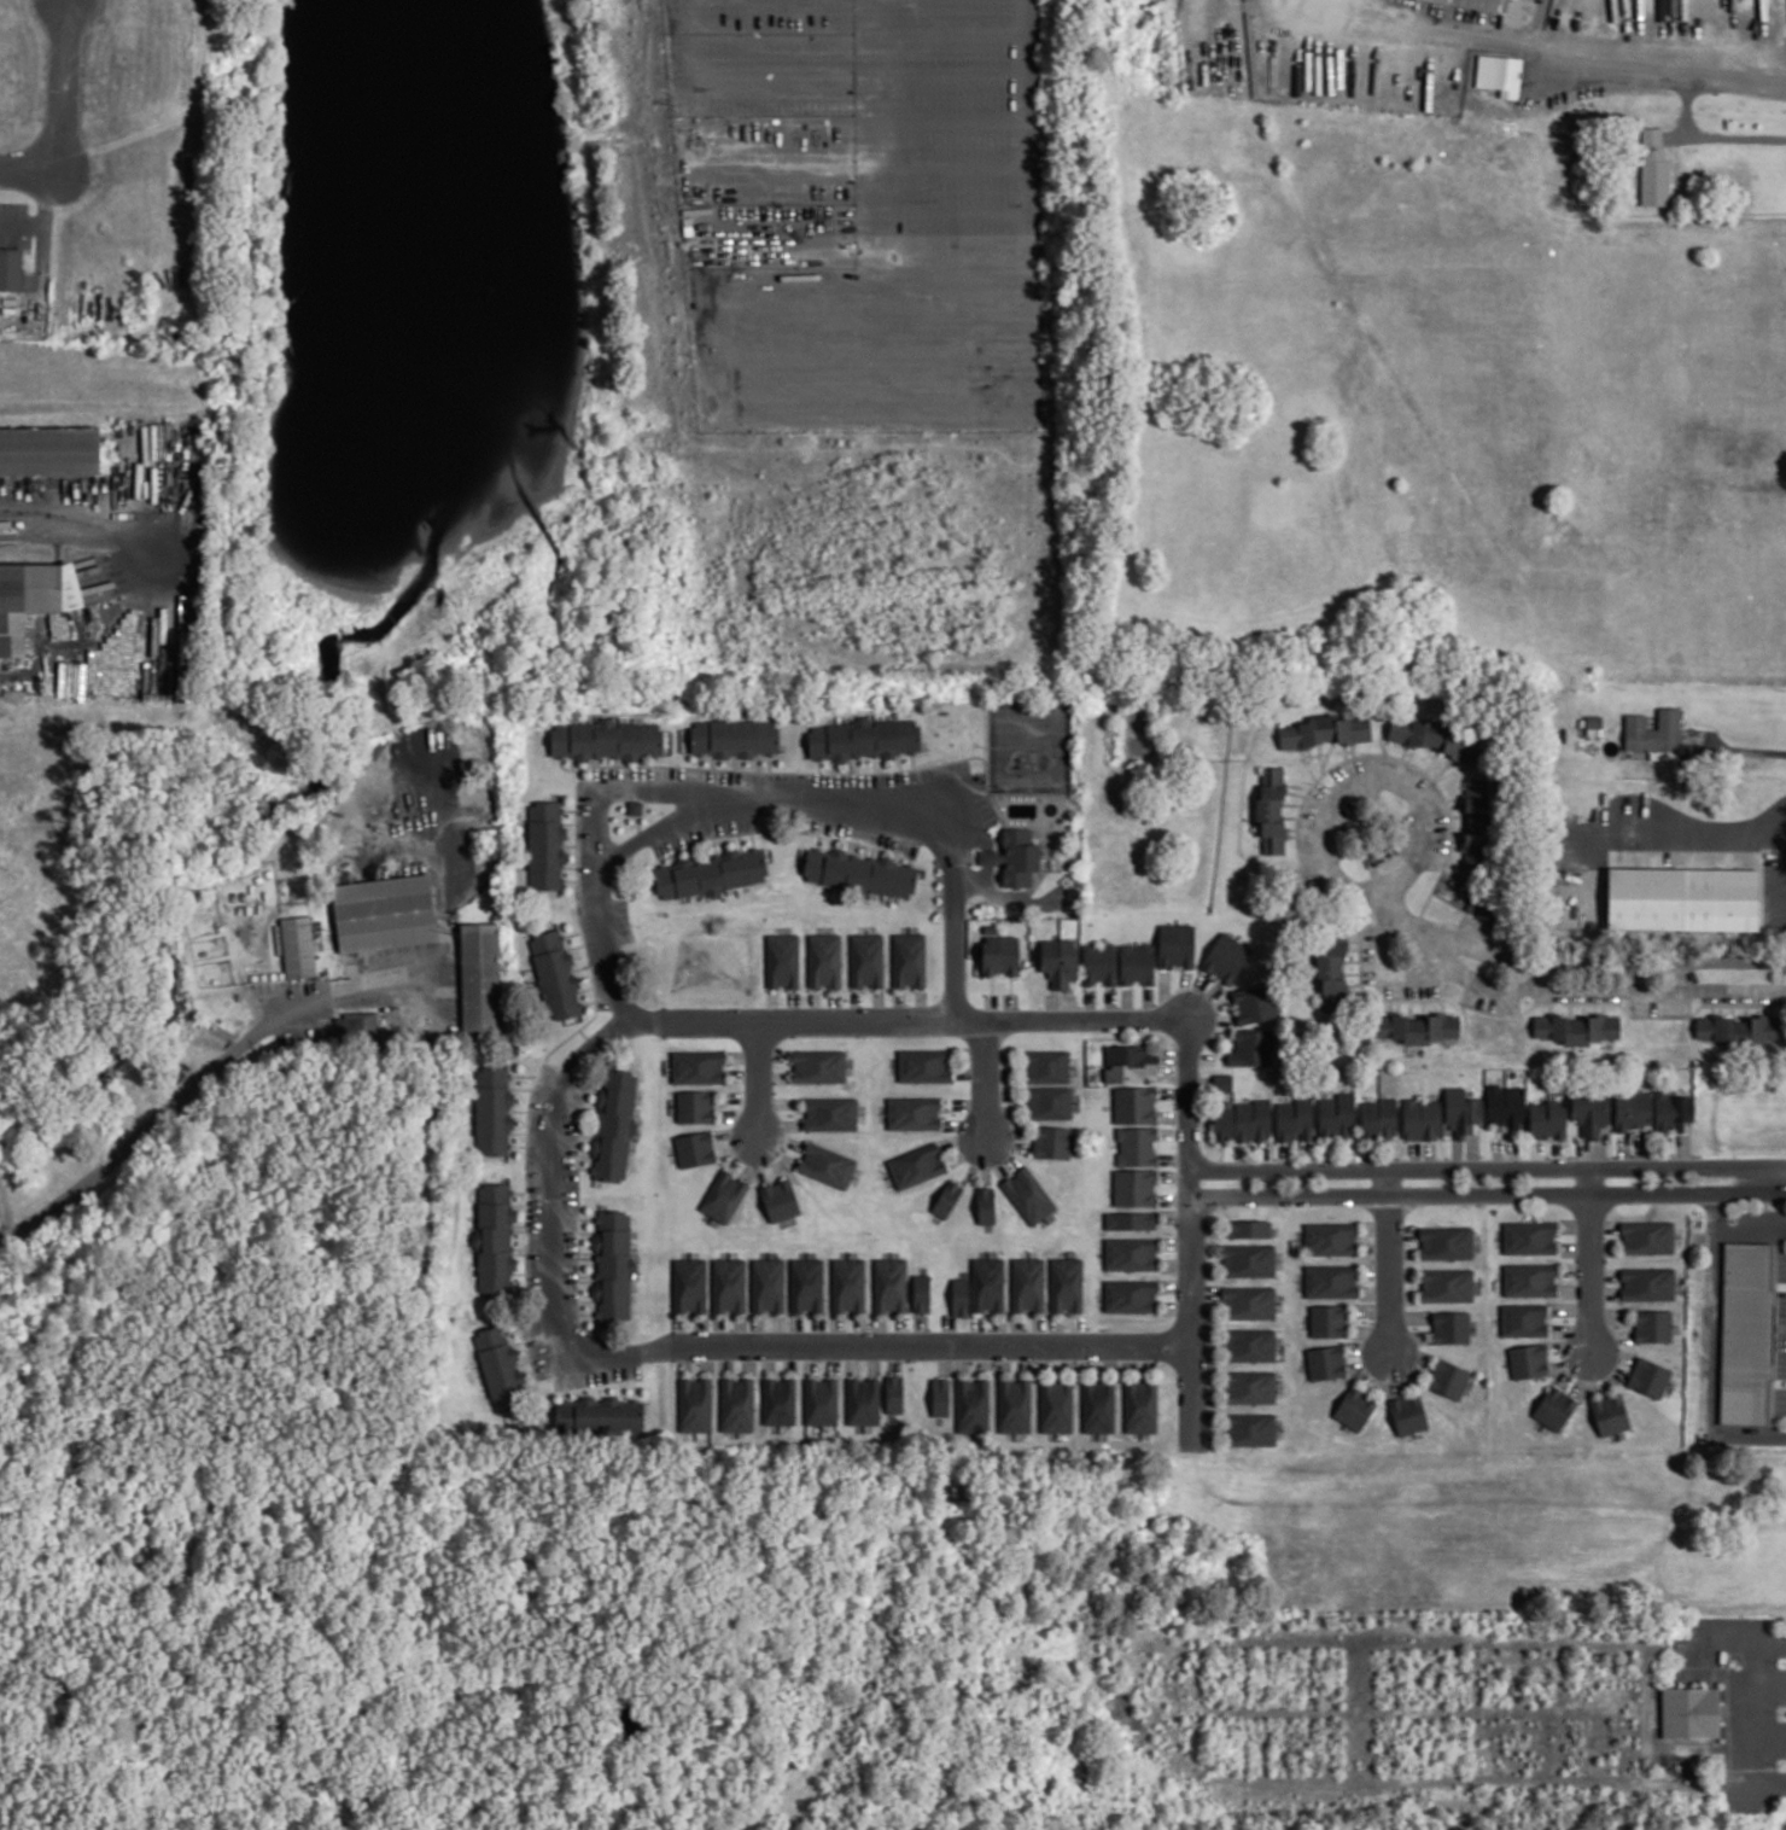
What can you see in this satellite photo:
building: (1475, 4)
road: (1530, 21)
road: (1492, 33)
building: (1500, 74)
road: (1743, 78)
road: (69, 116)
road: (1705, 139)
building: (1653, 169)
building: (11, 268)
road: (875, 420)
building: (49, 450)
building: (31, 599)
building: (1325, 730)
building: (1654, 730)
building: (1434, 736)
building: (734, 738)
building: (863, 738)
building: (606, 739)
road: (1744, 747)
building: (1664, 754)
road: (1355, 787)
road: (623, 792)
road: (775, 797)
building: (1272, 812)
road: (1706, 835)
building: (545, 845)
flagpole: (1765, 847)
building: (1015, 857)
building: (858, 872)
building: (711, 874)
building: (1457, 892)
building: (1681, 897)
building: (1072, 898)
building: (384, 913)
building: (1177, 945)
building: (298, 946)
building: (1000, 954)
building: (1226, 957)
building: (783, 960)
building: (824, 960)
building: (866, 960)
building: (909, 960)
building: (1060, 961)
road: (1571, 961)
building: (1099, 963)
building: (1137, 963)
building: (1332, 972)
building: (555, 974)
road: (1542, 975)
road: (1679, 975)
building: (480, 978)
road: (1595, 990)
building: (1254, 1003)
road: (924, 1020)
building: (1417, 1026)
building: (356, 1027)
building: (1577, 1027)
building: (1739, 1028)
building: (1251, 1048)
building: (1128, 1062)
building: (924, 1065)
building: (698, 1066)
building: (818, 1066)
building: (1046, 1066)
road: (987, 1079)
road: (759, 1080)
building: (1222, 1082)
road: (189, 1084)
building: (1049, 1102)
building: (1134, 1105)
building: (695, 1106)
building: (1506, 1106)
building: (1633, 1109)
building: (492, 1111)
building: (1673, 1111)
building: (830, 1113)
building: (914, 1113)
building: (1591, 1113)
building: (1337, 1115)
building: (1378, 1118)
building: (1295, 1119)
building: (1422, 1119)
building: (1547, 1119)
building: (1253, 1120)
building: (1222, 1121)
street lamp: (1175, 1123)
building: (614, 1124)
building: (1051, 1142)
building: (1137, 1146)
building: (695, 1149)
road: (1175, 1158)
building: (827, 1165)
building: (916, 1165)
road: (1488, 1167)
building: (1134, 1187)
road: (1489, 1193)
building: (1028, 1195)
building: (724, 1196)
building: (947, 1197)
building: (780, 1200)
road: (1716, 1202)
building: (986, 1205)
building: (1130, 1220)
road: (1576, 1224)
building: (1249, 1228)
road: (1744, 1229)
street lamp: (1609, 1234)
building: (1529, 1236)
building: (1647, 1236)
building: (495, 1239)
building: (1330, 1239)
street lamp: (1408, 1242)
building: (1447, 1242)
road: (1192, 1243)
road: (1577, 1247)
building: (1131, 1253)
road: (1389, 1259)
road: (1592, 1259)
building: (1249, 1260)
building: (614, 1265)
building: (1529, 1280)
building: (1331, 1281)
building: (987, 1283)
building: (1028, 1283)
building: (1647, 1283)
building: (690, 1284)
building: (729, 1284)
building: (769, 1284)
building: (807, 1284)
building: (848, 1284)
building: (891, 1284)
building: (1067, 1284)
building: (1447, 1284)
building: (921, 1293)
building: (1130, 1295)
building: (959, 1296)
building: (1249, 1302)
road: (1572, 1307)
building: (1524, 1319)
building: (1329, 1321)
building: (1653, 1325)
building: (1451, 1327)
building: (1746, 1331)
road: (1774, 1331)
building: (1250, 1345)
road: (681, 1346)
road: (1710, 1358)
building: (1529, 1360)
building: (1326, 1362)
building: (500, 1368)
road: (1586, 1374)
building: (1650, 1377)
street lamp: (1372, 1379)
building: (1448, 1379)
street lamp: (1574, 1379)
building: (1250, 1387)
building: (894, 1393)
building: (940, 1397)
building: (780, 1400)
building: (822, 1400)
building: (863, 1400)
building: (695, 1404)
building: (737, 1404)
building: (973, 1405)
building: (1015, 1405)
building: (1057, 1406)
building: (1098, 1406)
building: (1140, 1406)
building: (1554, 1408)
building: (1354, 1409)
building: (1408, 1414)
building: (1610, 1414)
building: (599, 1416)
building: (1250, 1428)
building: (1689, 1712)
road: (1759, 1713)

